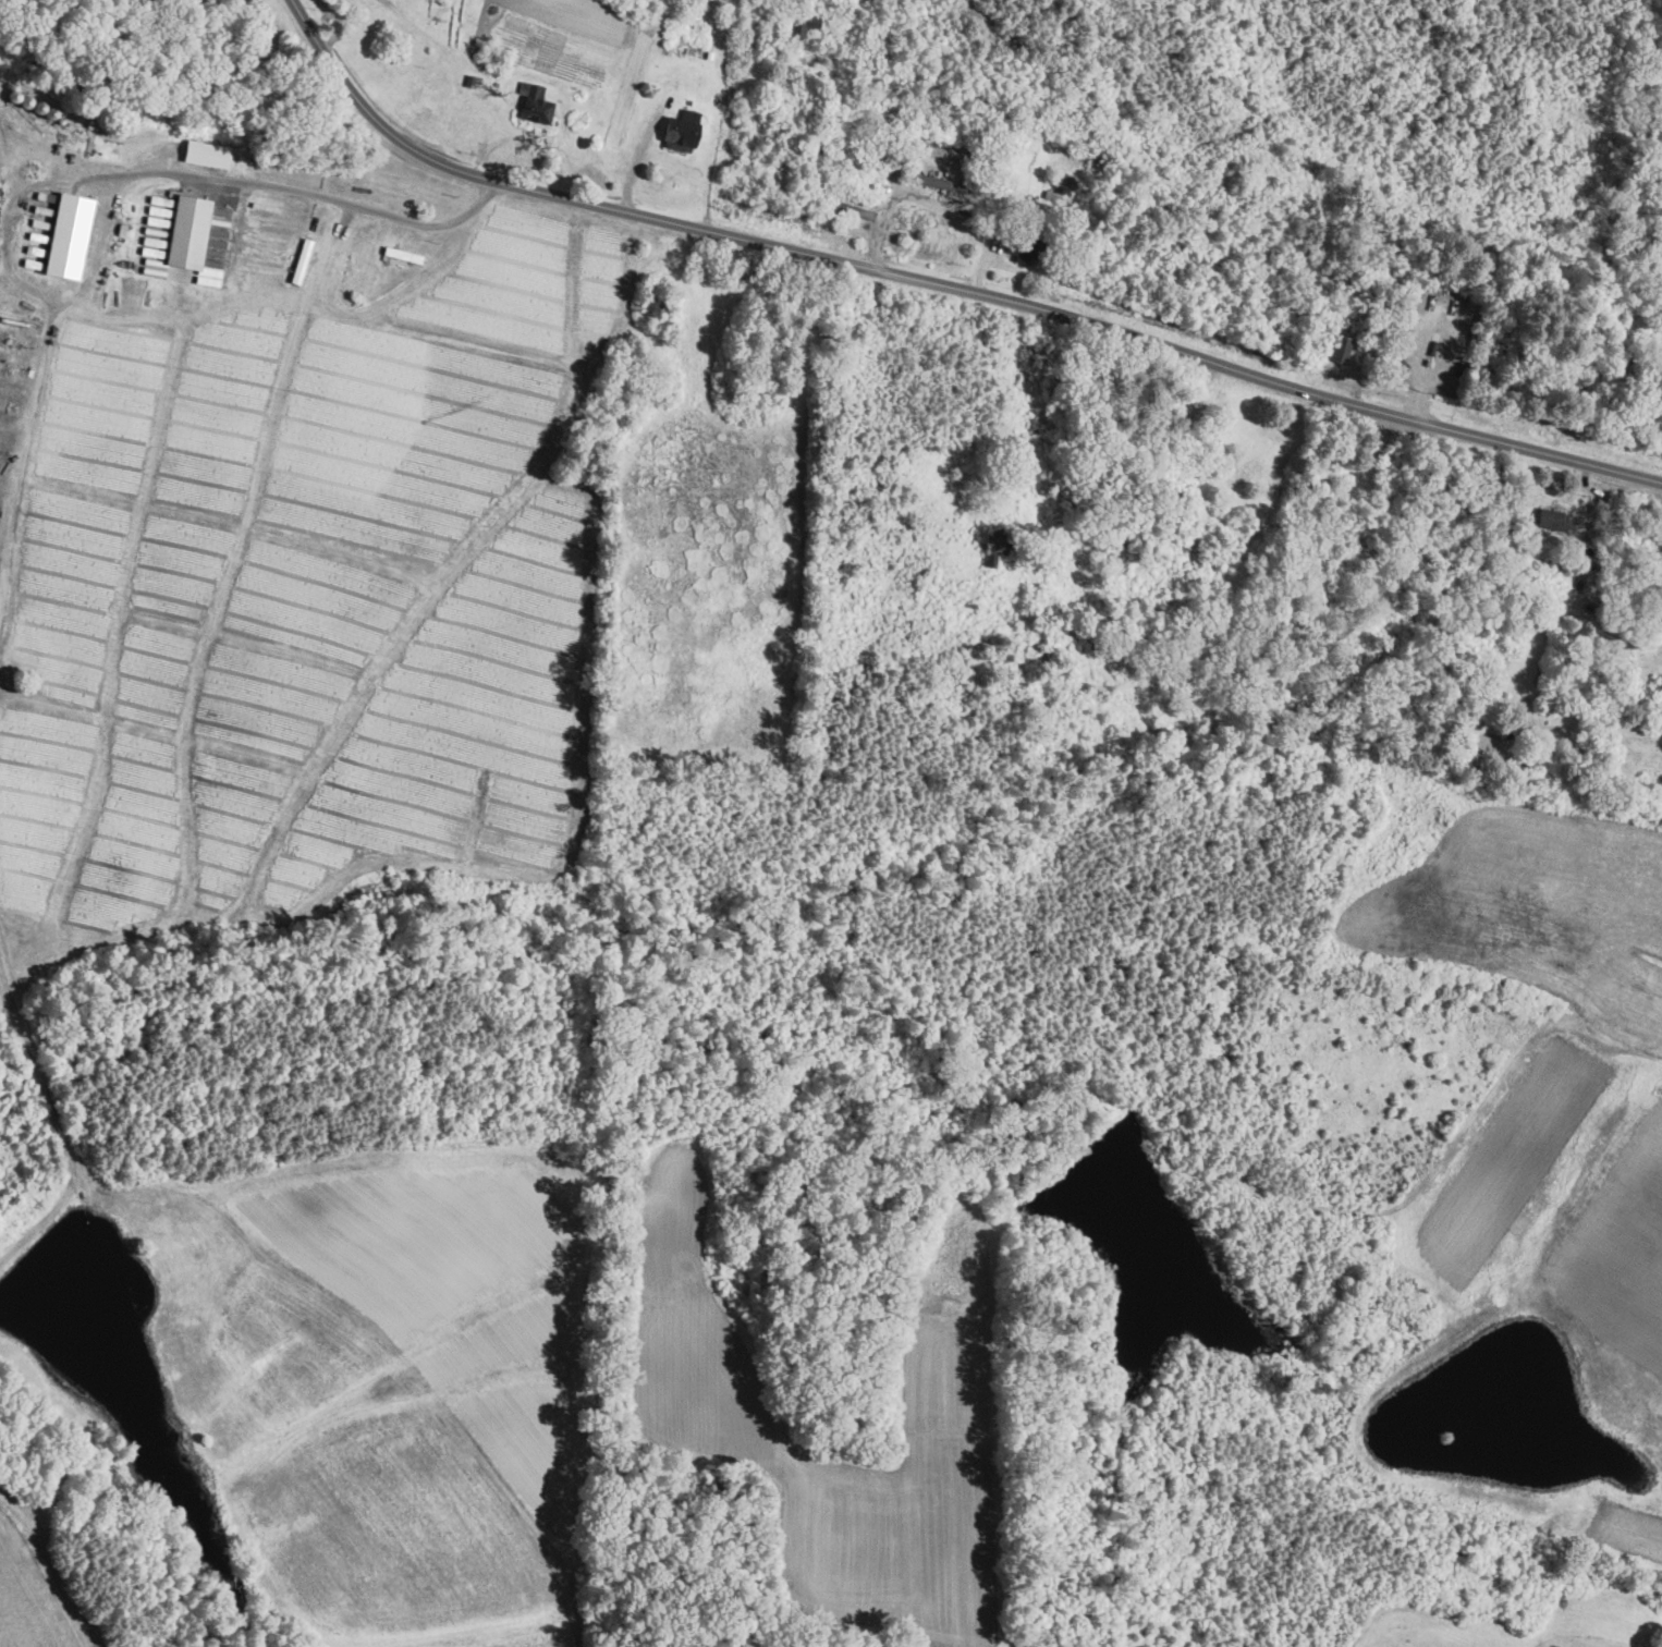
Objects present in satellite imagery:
building: (801, 27)
building: (536, 109)
building: (682, 133)
building: (946, 154)
building: (940, 184)
road: (310, 195)
building: (857, 215)
building: (183, 235)
building: (69, 237)
building: (1025, 249)
building: (403, 256)
building: (301, 263)
road: (943, 286)
building: (652, 302)
road: (1446, 335)
building: (1337, 352)
building: (1353, 496)
building: (1556, 522)
building: (997, 542)
building: (1655, 699)
building: (1488, 746)
building: (1455, 1557)

